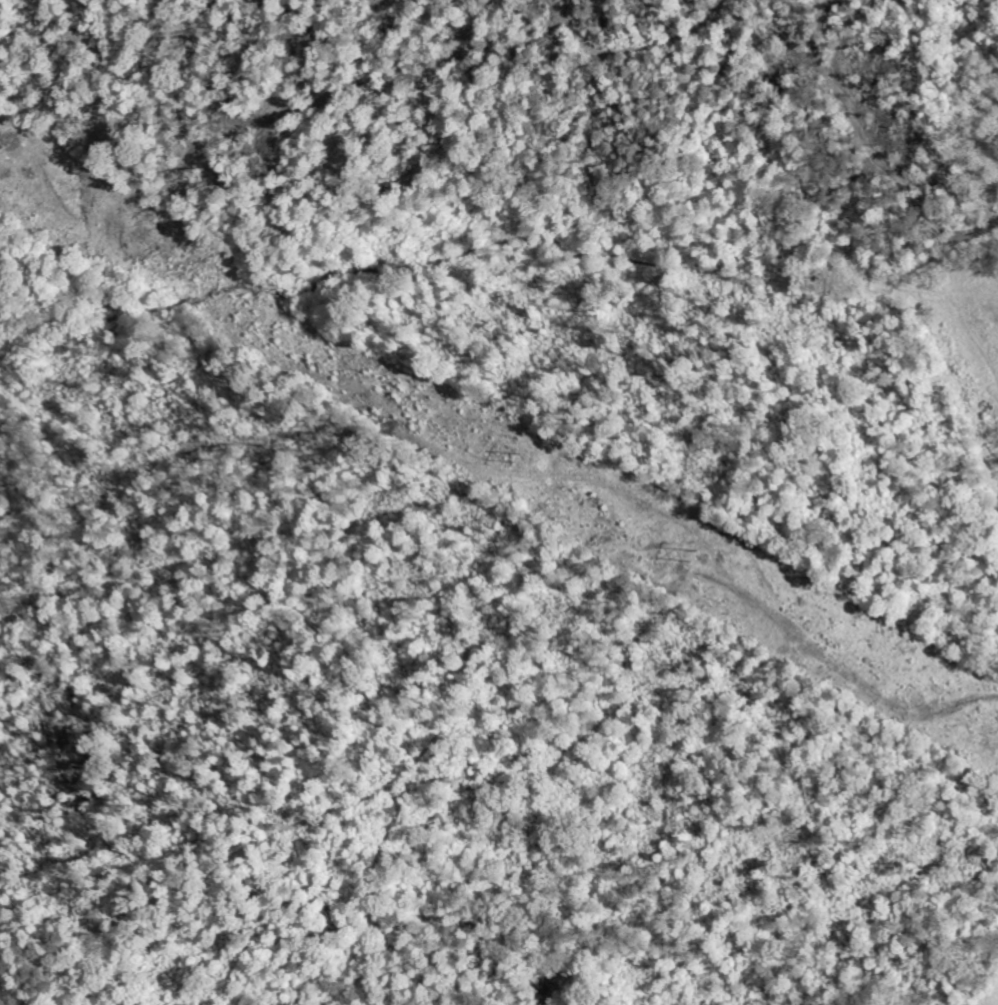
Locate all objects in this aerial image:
power tower: (519, 460)
power tower: (696, 555)

